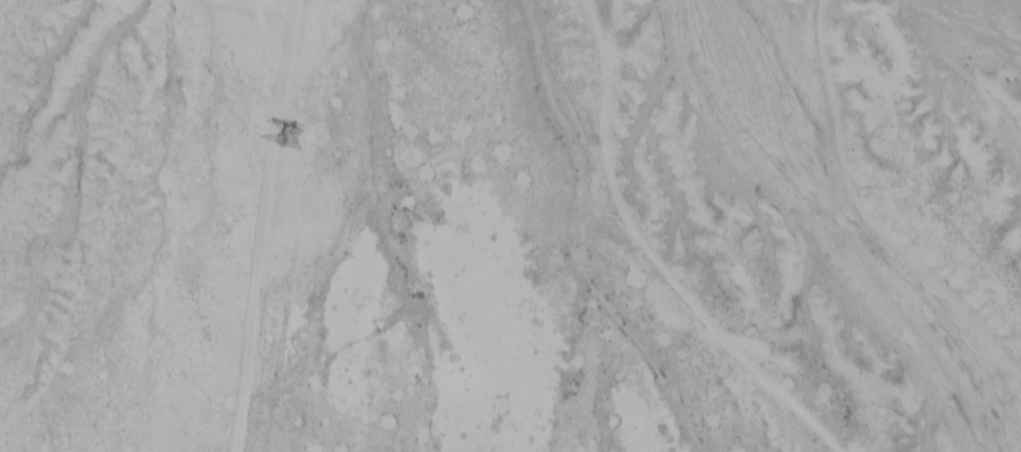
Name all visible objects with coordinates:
power tower: (288, 142)
river: (845, 223)

